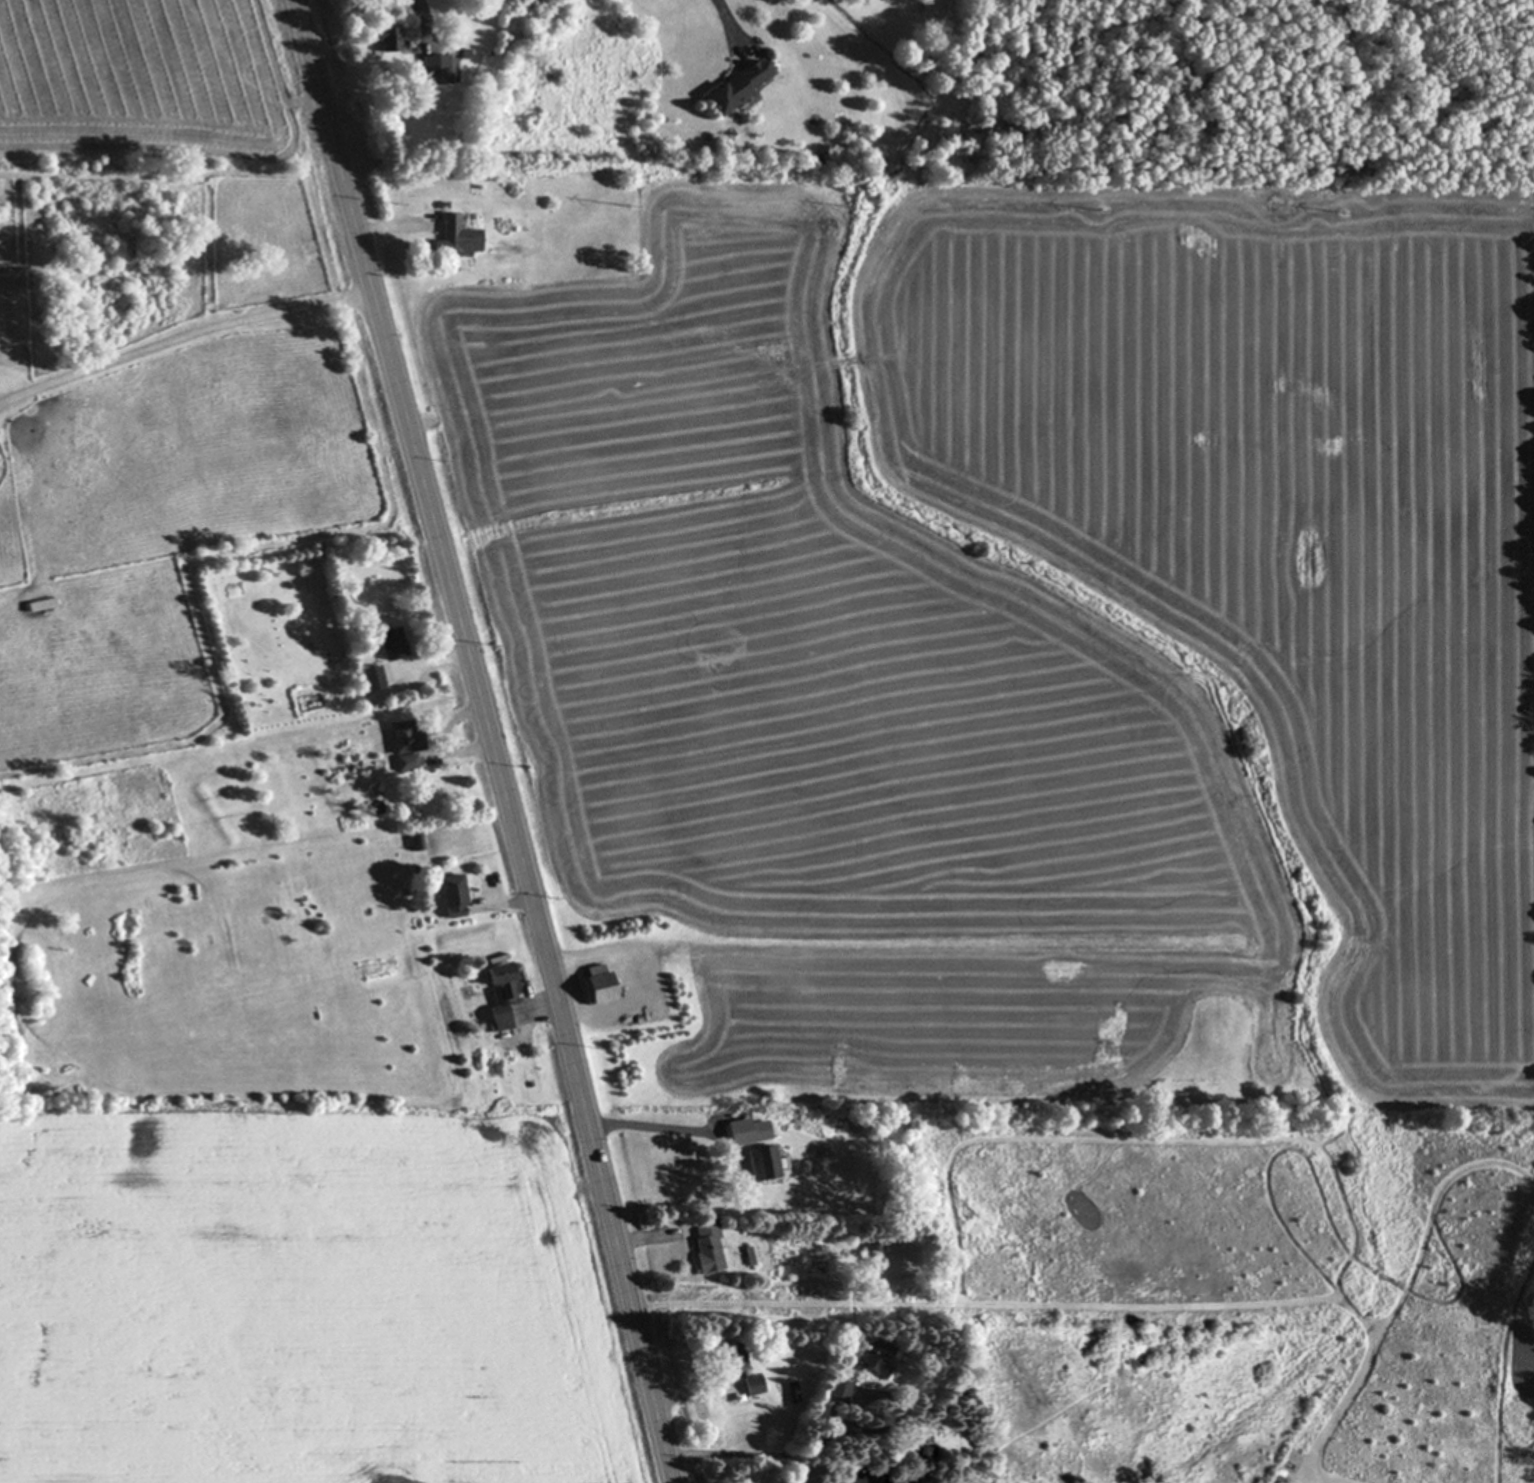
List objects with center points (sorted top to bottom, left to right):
road: (420, 11)
road: (734, 27)
building: (386, 41)
building: (433, 71)
building: (733, 89)
road: (390, 225)
building: (453, 239)
road: (181, 337)
building: (389, 643)
road: (439, 662)
building: (369, 678)
building: (402, 738)
road: (444, 739)
road: (490, 739)
building: (405, 762)
building: (416, 842)
building: (450, 897)
road: (515, 903)
building: (593, 985)
building: (497, 995)
road: (656, 1127)
building: (744, 1133)
building: (759, 1164)
road: (642, 1236)
building: (704, 1246)
building: (872, 1249)
building: (874, 1360)
building: (728, 1361)
building: (750, 1386)
building: (836, 1392)
road: (682, 1394)
road: (760, 1457)
building: (860, 1479)

